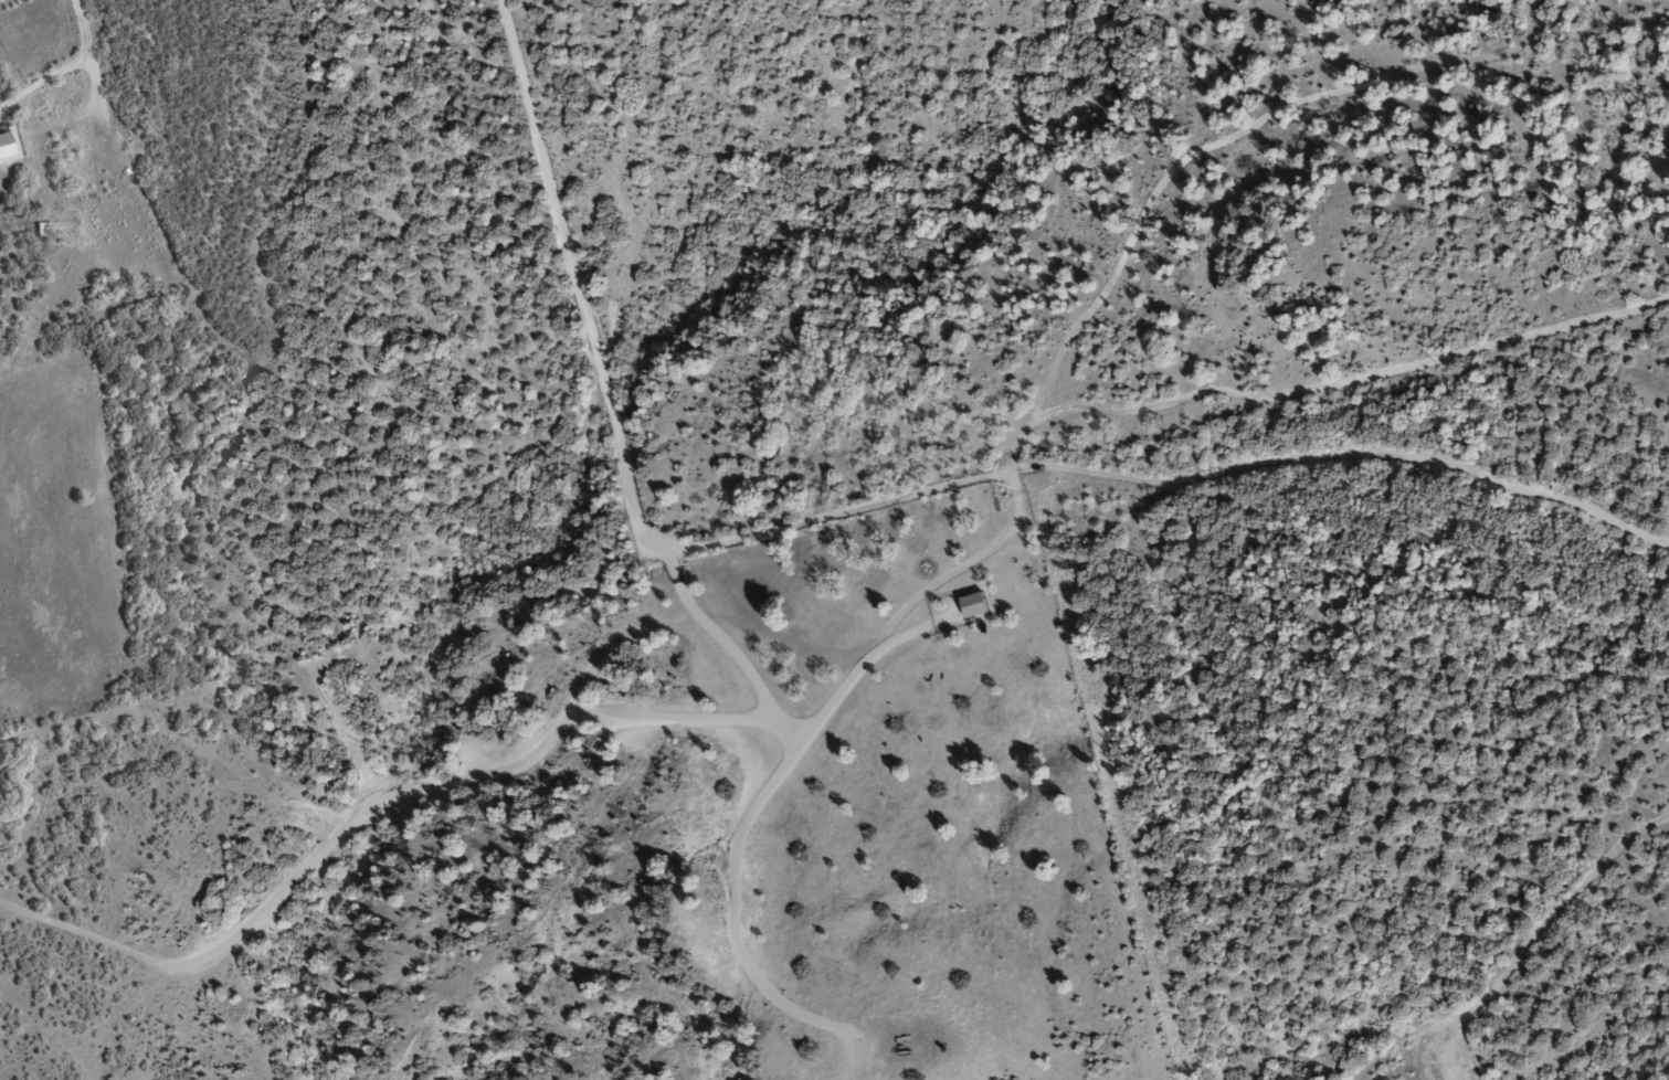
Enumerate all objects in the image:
road: (70, 70)
building: (8, 155)
building: (976, 614)

